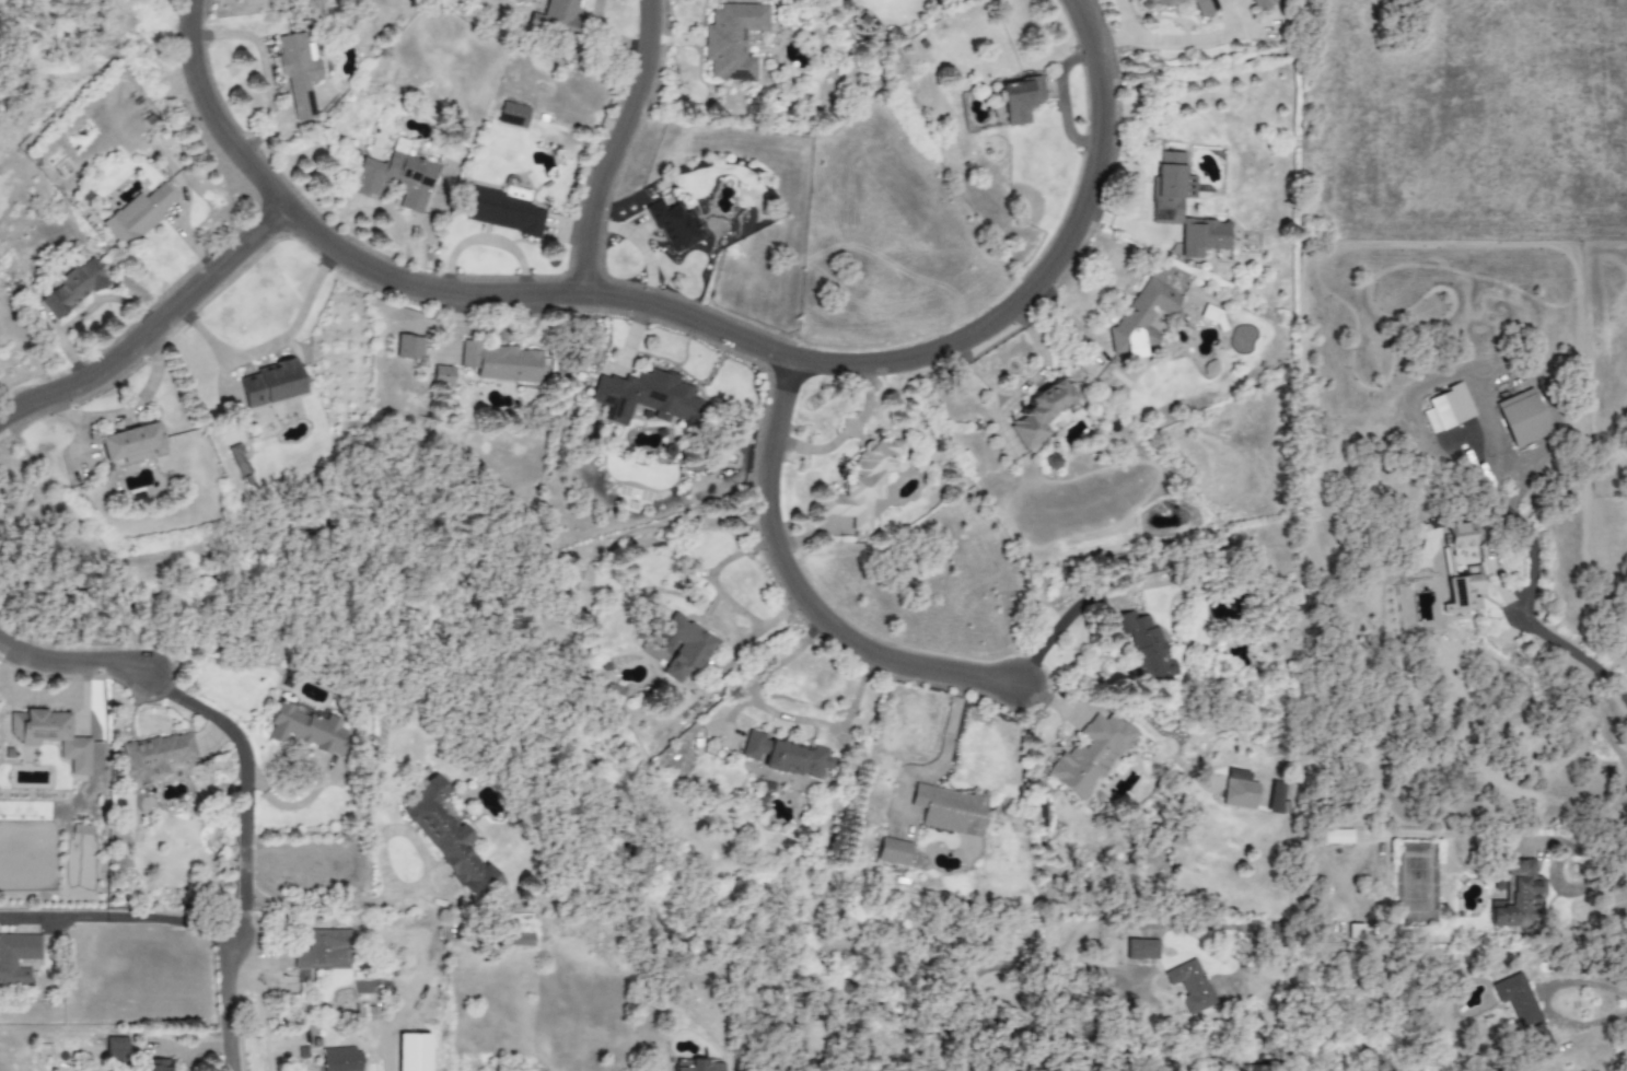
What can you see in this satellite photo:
building: (1264, 4)
building: (1205, 8)
building: (556, 19)
road: (1122, 32)
building: (732, 40)
building: (298, 73)
building: (1020, 100)
road: (213, 115)
building: (513, 115)
road: (618, 147)
building: (395, 177)
road: (386, 209)
building: (1167, 209)
building: (504, 210)
building: (138, 214)
building: (675, 226)
building: (73, 289)
building: (1213, 316)
building: (1140, 319)
road: (154, 327)
road: (274, 341)
building: (408, 348)
road: (810, 360)
building: (502, 362)
building: (1209, 369)
building: (442, 376)
building: (270, 384)
building: (647, 397)
building: (1448, 409)
building: (1041, 412)
building: (1522, 418)
building: (132, 444)
building: (239, 459)
building: (862, 484)
building: (1460, 536)
road: (1527, 587)
building: (1464, 592)
road: (803, 593)
building: (683, 647)
building: (1143, 649)
road: (72, 661)
road: (201, 709)
road: (780, 715)
building: (305, 729)
building: (50, 736)
building: (155, 755)
building: (1091, 755)
building: (787, 756)
building: (1239, 794)
building: (950, 810)
road: (244, 833)
building: (446, 836)
building: (1337, 837)
building: (893, 852)
road: (1616, 862)
road: (1553, 873)
building: (1515, 897)
road: (321, 901)
road: (53, 916)
road: (172, 919)
road: (237, 934)
building: (324, 950)
building: (1141, 950)
building: (8, 964)
road: (1001, 966)
building: (1190, 986)
road: (1542, 1001)
building: (1524, 1013)
road: (228, 1014)
building: (115, 1050)
building: (340, 1059)
building: (155, 1066)
building: (701, 1066)

